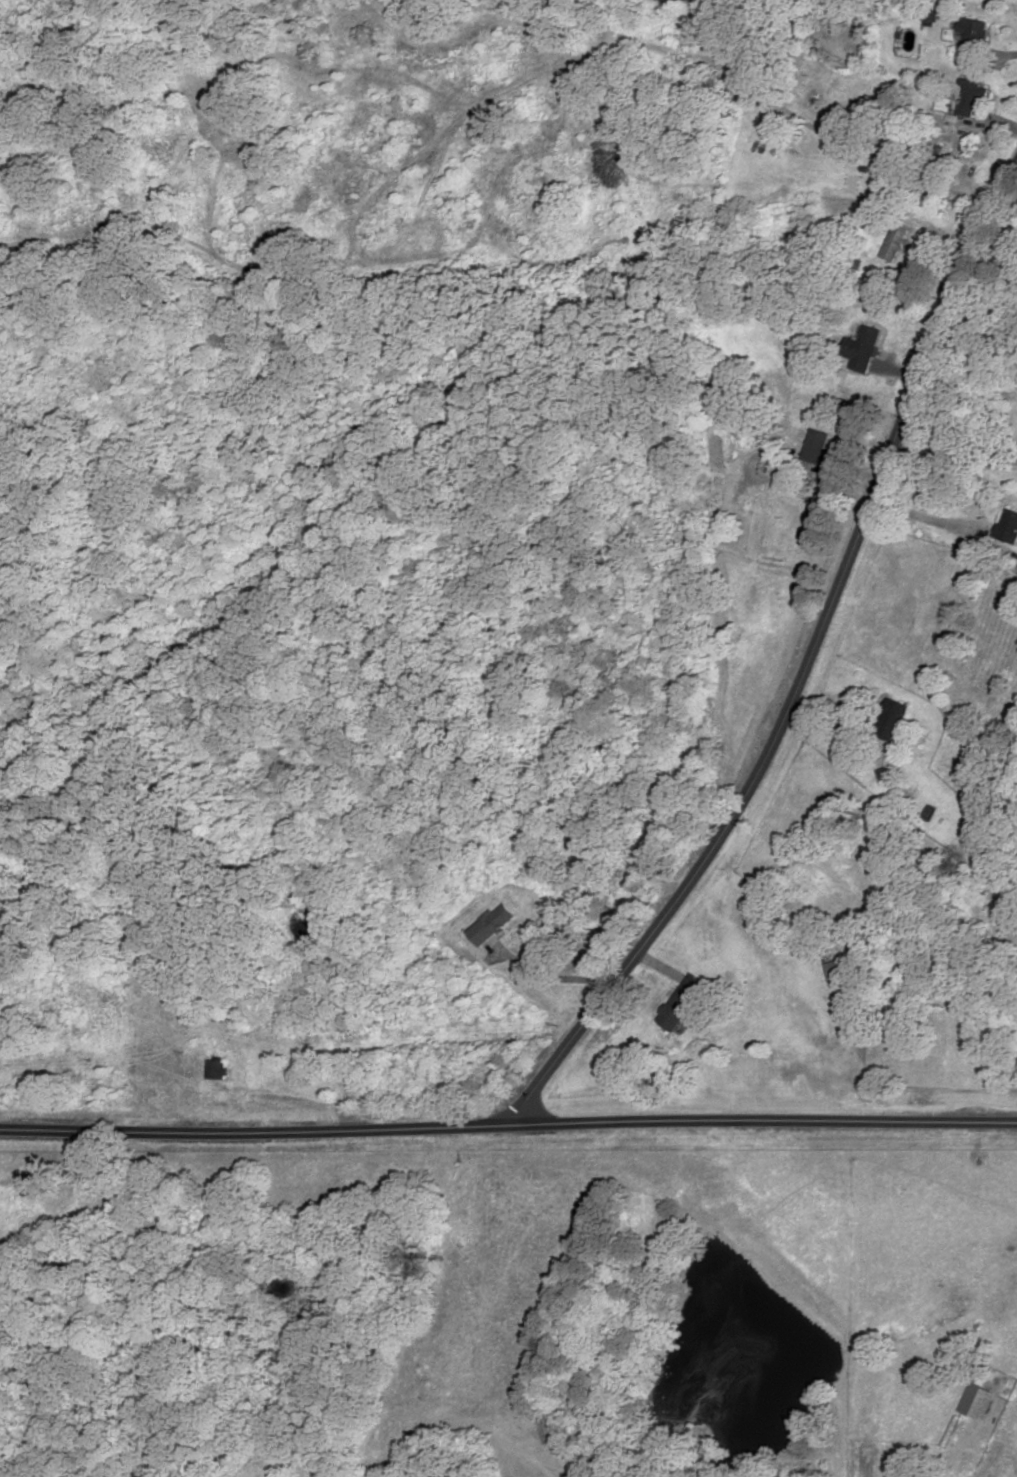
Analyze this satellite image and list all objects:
building: (975, 34)
building: (974, 92)
building: (899, 241)
building: (863, 348)
building: (818, 445)
road: (954, 456)
road: (922, 513)
building: (1009, 526)
road: (808, 668)
building: (895, 719)
building: (493, 925)
building: (835, 970)
road: (671, 973)
road: (550, 977)
building: (683, 1010)
building: (219, 1069)
road: (508, 1125)
building: (979, 1402)

